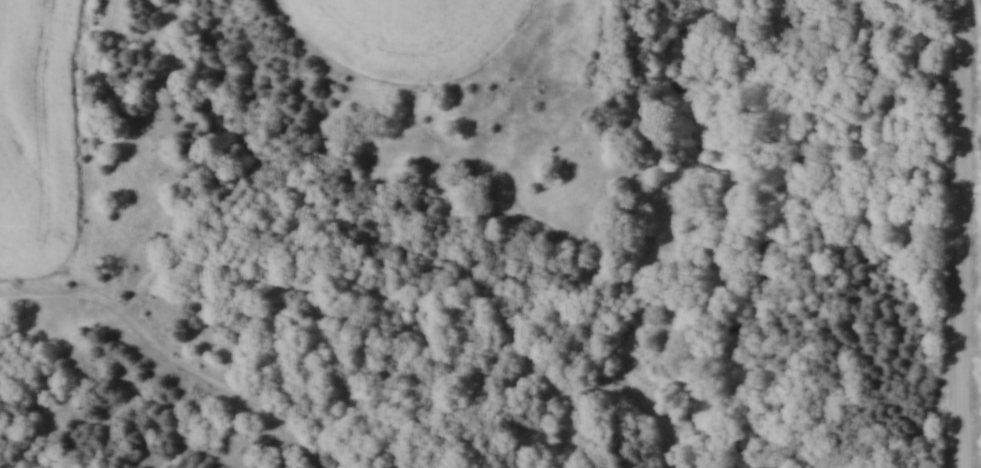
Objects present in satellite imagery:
road: (959, 233)

